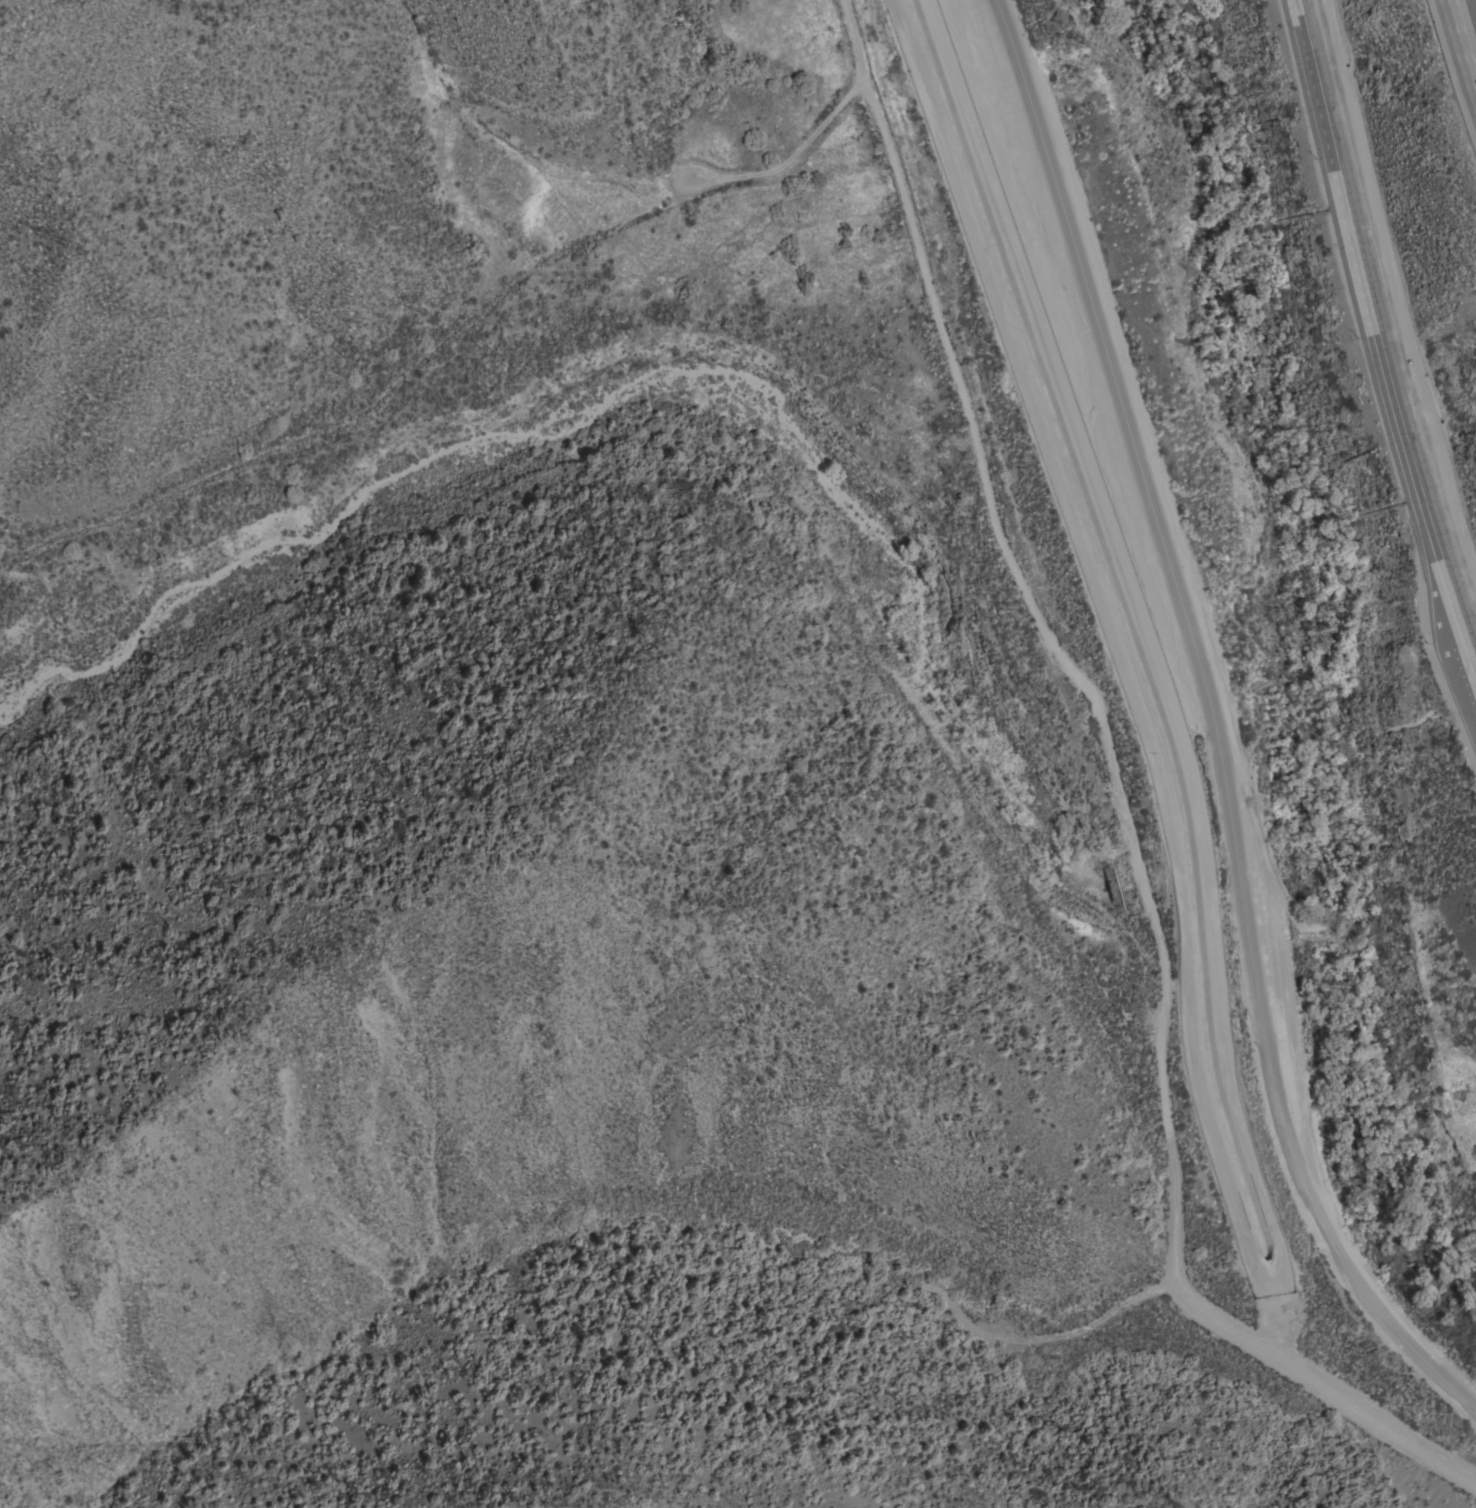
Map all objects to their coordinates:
road: (1460, 49)
road: (1398, 285)
road: (1376, 338)
road: (1216, 719)
power tower: (1004, 940)

